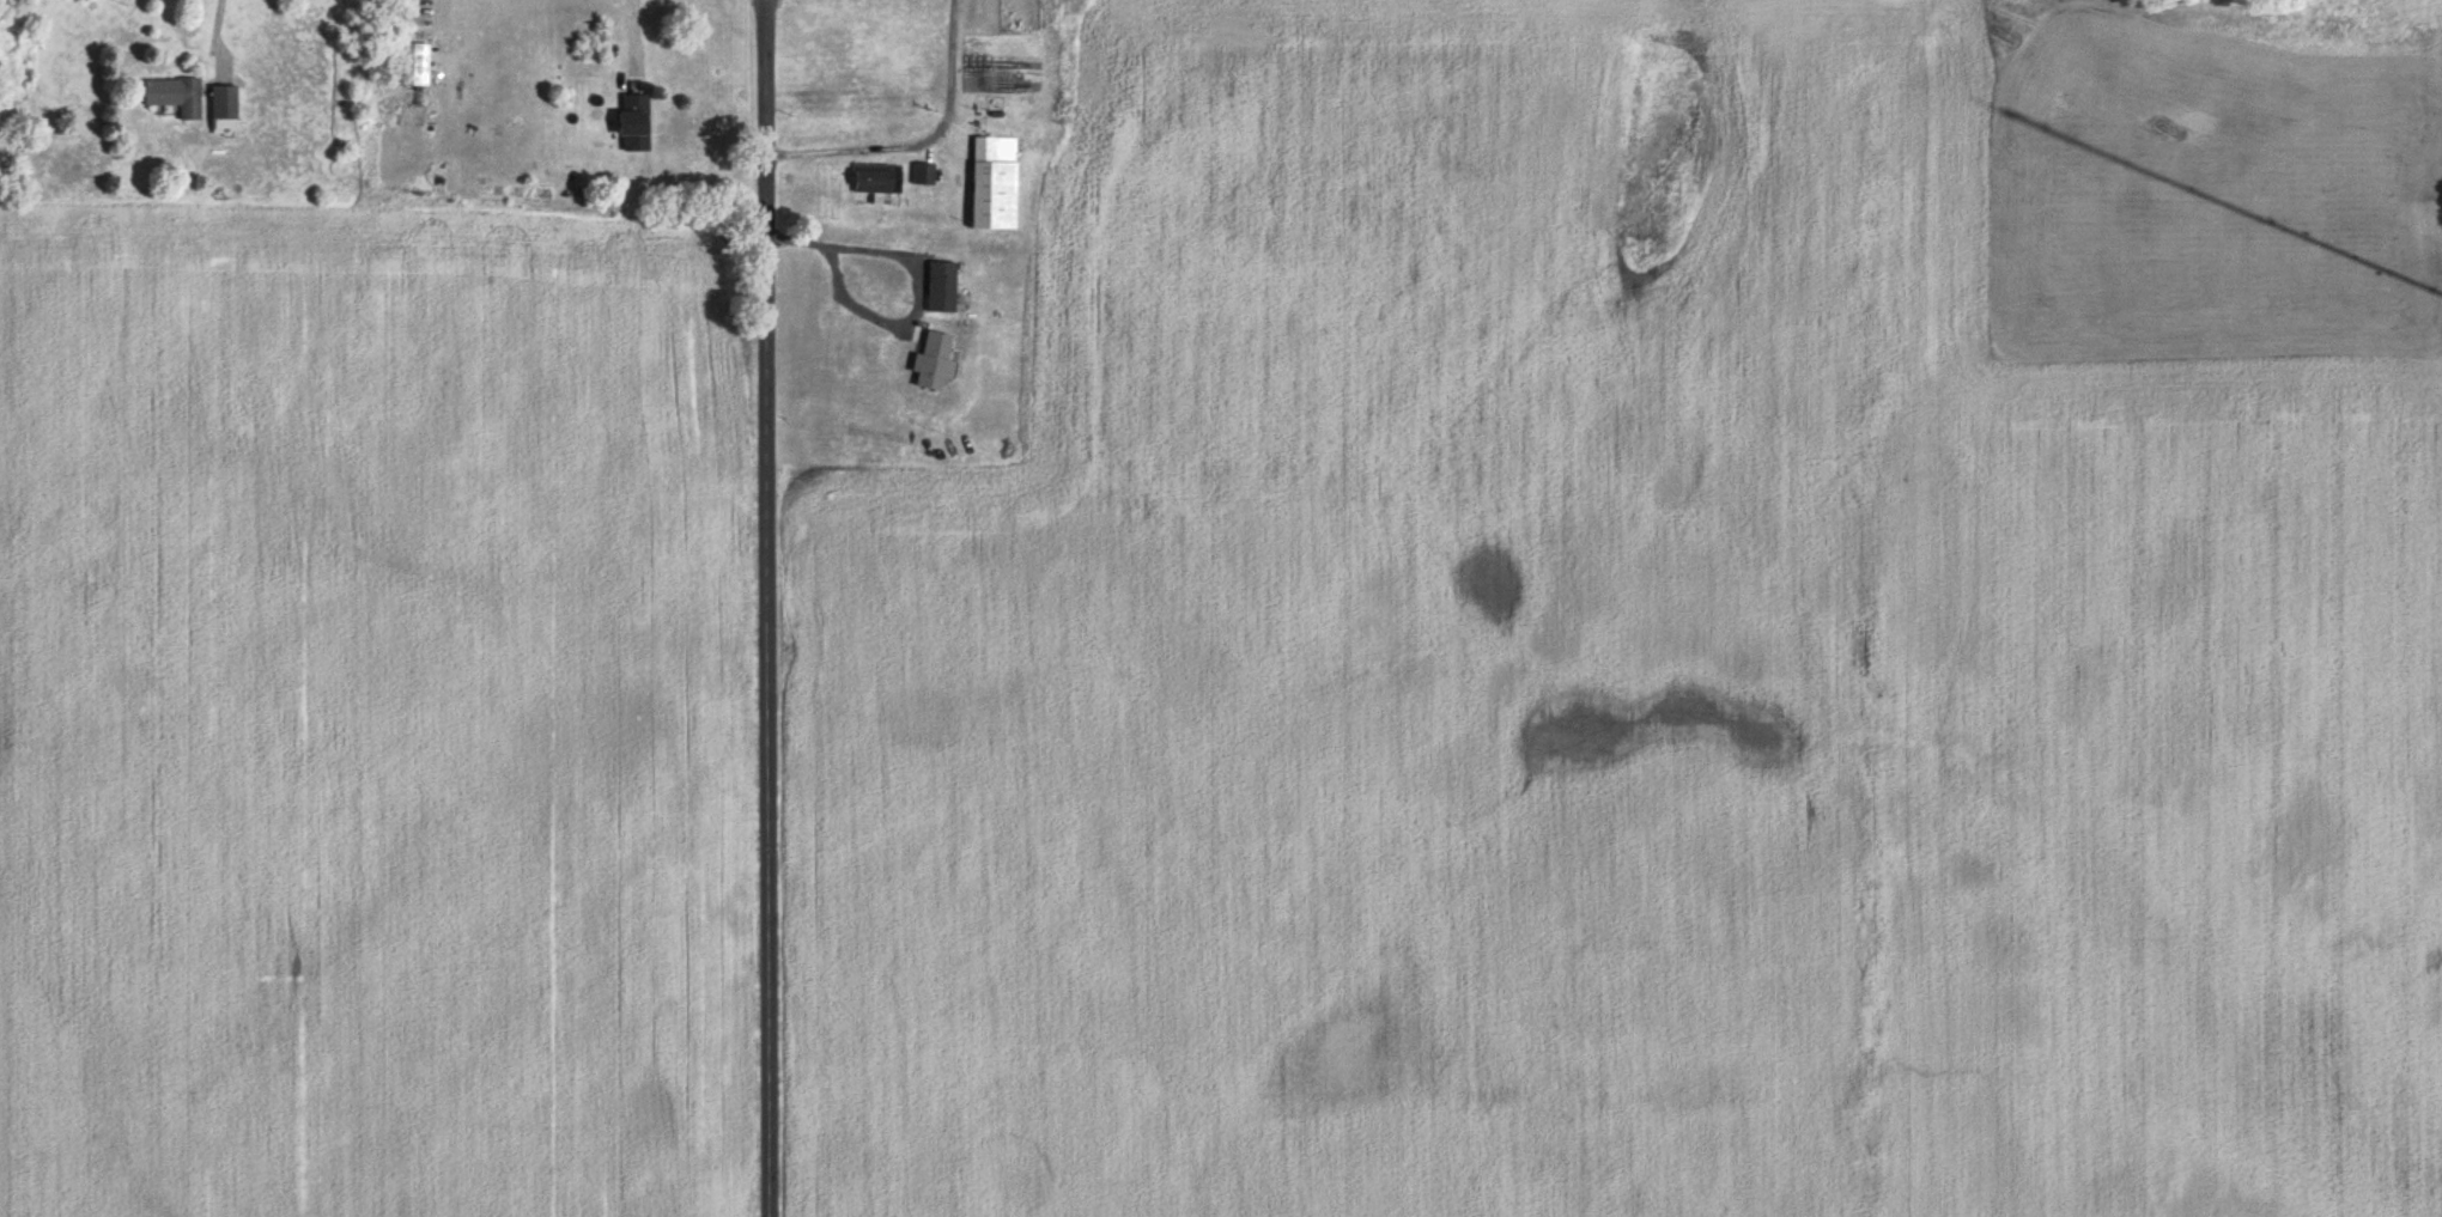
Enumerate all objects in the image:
building: (415, 68)
building: (177, 96)
building: (225, 109)
building: (637, 123)
road: (919, 142)
building: (923, 172)
building: (876, 179)
building: (994, 184)
road: (909, 300)
building: (883, 306)
road: (772, 608)

